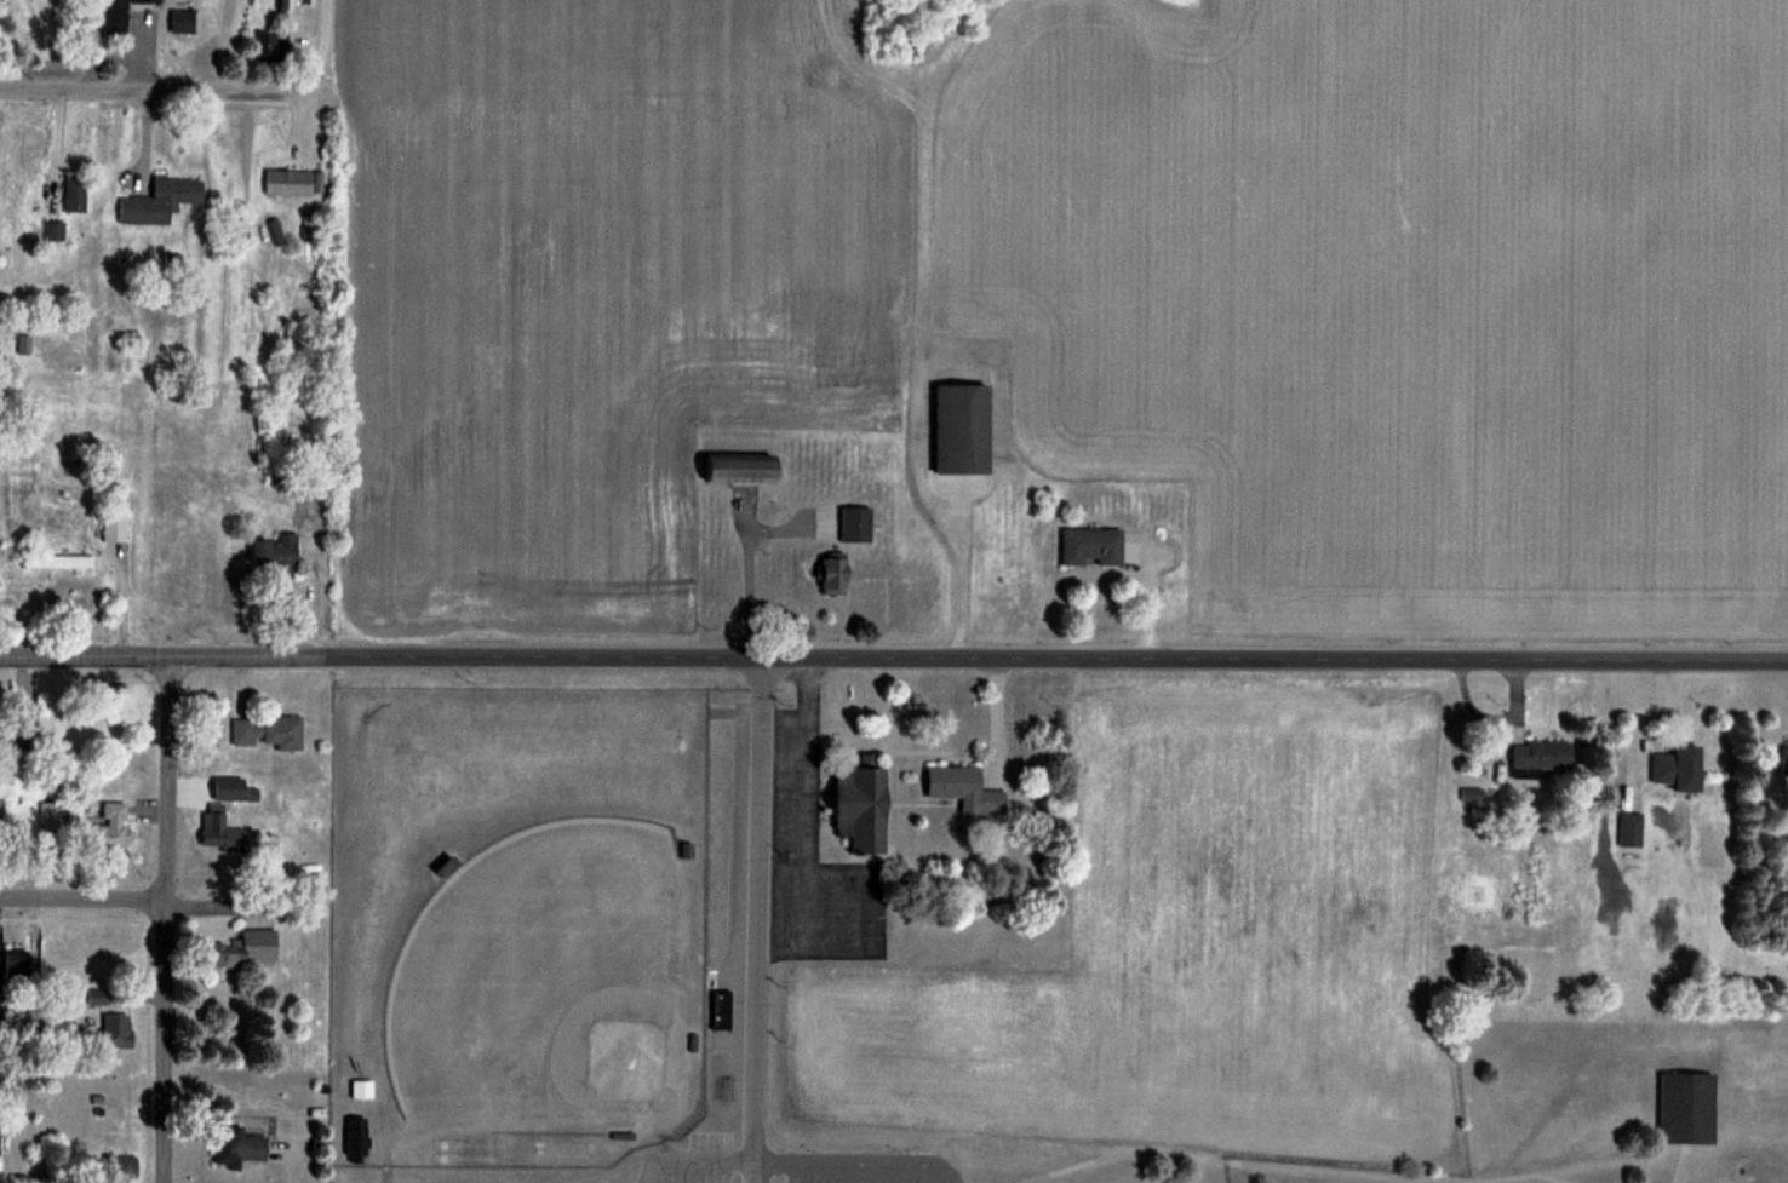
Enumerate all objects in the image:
building: (147, 0)
building: (116, 17)
building: (182, 21)
road: (323, 24)
building: (268, 45)
road: (173, 90)
building: (290, 182)
building: (75, 194)
building: (160, 201)
building: (11, 206)
building: (55, 231)
building: (962, 427)
building: (741, 469)
building: (856, 524)
building: (114, 527)
building: (1093, 545)
building: (275, 553)
building: (58, 562)
building: (833, 575)
road: (894, 655)
building: (28, 728)
building: (268, 731)
building: (1541, 757)
building: (1784, 762)
building: (1679, 768)
building: (965, 788)
building: (0, 800)
building: (861, 805)
building: (51, 815)
building: (114, 817)
building: (1632, 829)
building: (220, 831)
road: (82, 897)
road: (164, 918)
road: (760, 919)
building: (242, 949)
building: (17, 966)
building: (722, 1010)
building: (116, 1030)
building: (362, 1089)
building: (1689, 1108)
building: (357, 1137)
building: (239, 1145)

